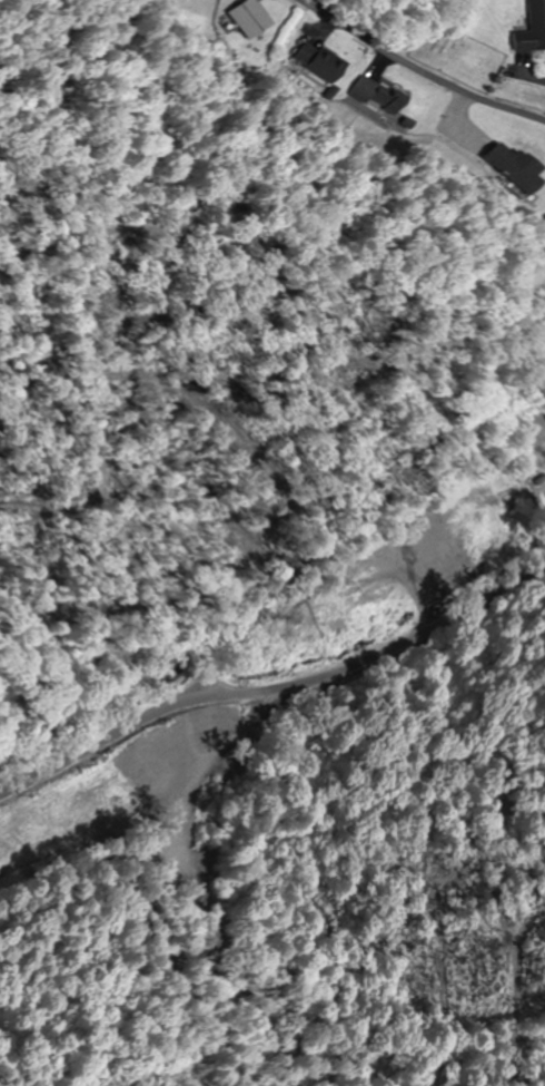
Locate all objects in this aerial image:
building: (250, 19)
building: (533, 27)
building: (323, 61)
building: (380, 97)
building: (514, 167)
road: (305, 439)
building: (463, 500)
building: (429, 513)
building: (335, 567)
building: (448, 567)
building: (361, 601)
building: (300, 625)
road: (264, 627)

